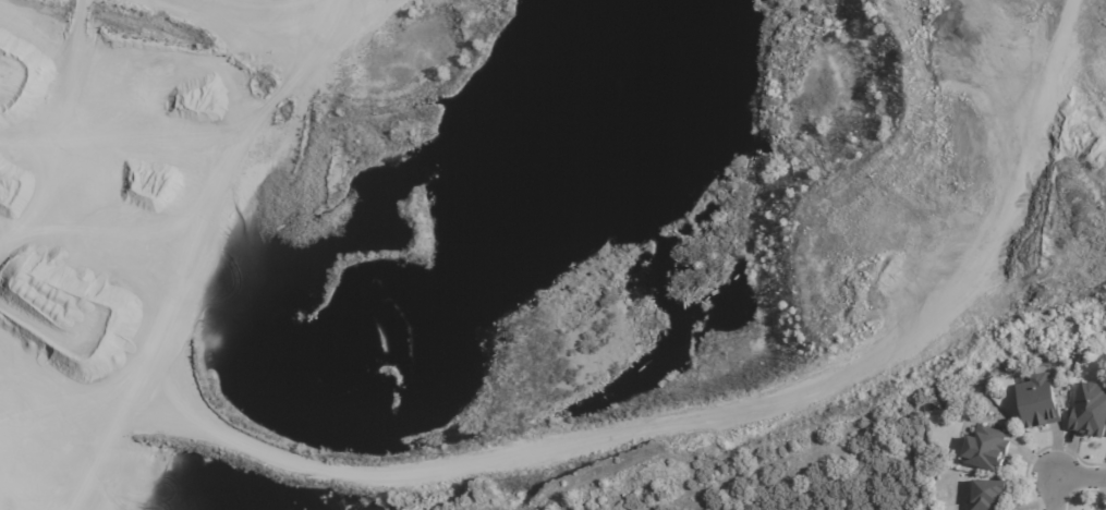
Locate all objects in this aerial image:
road: (1098, 19)
road: (234, 186)
quarry: (502, 227)
quarry: (522, 240)
building: (1068, 359)
road: (80, 398)
building: (1041, 403)
road: (684, 405)
building: (1092, 411)
building: (987, 448)
road: (1065, 477)
building: (990, 495)

